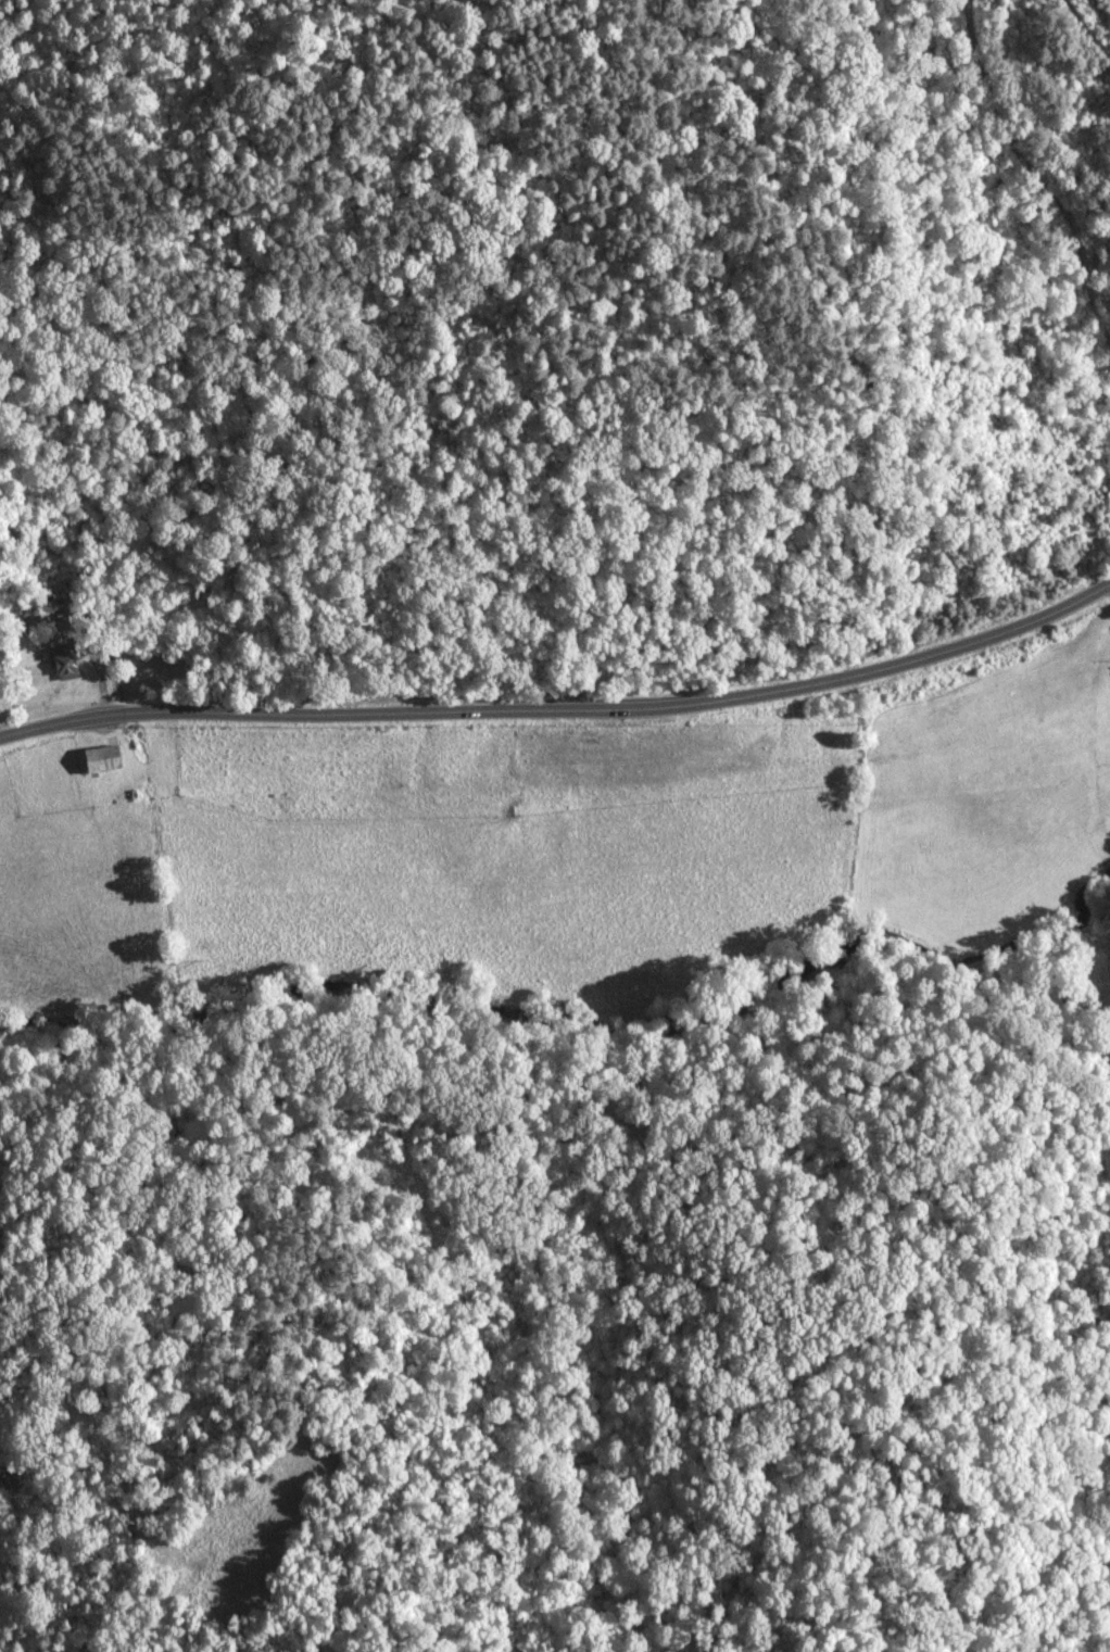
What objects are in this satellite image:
road: (1035, 177)
building: (37, 622)
building: (66, 666)
road: (562, 701)
building: (100, 759)

